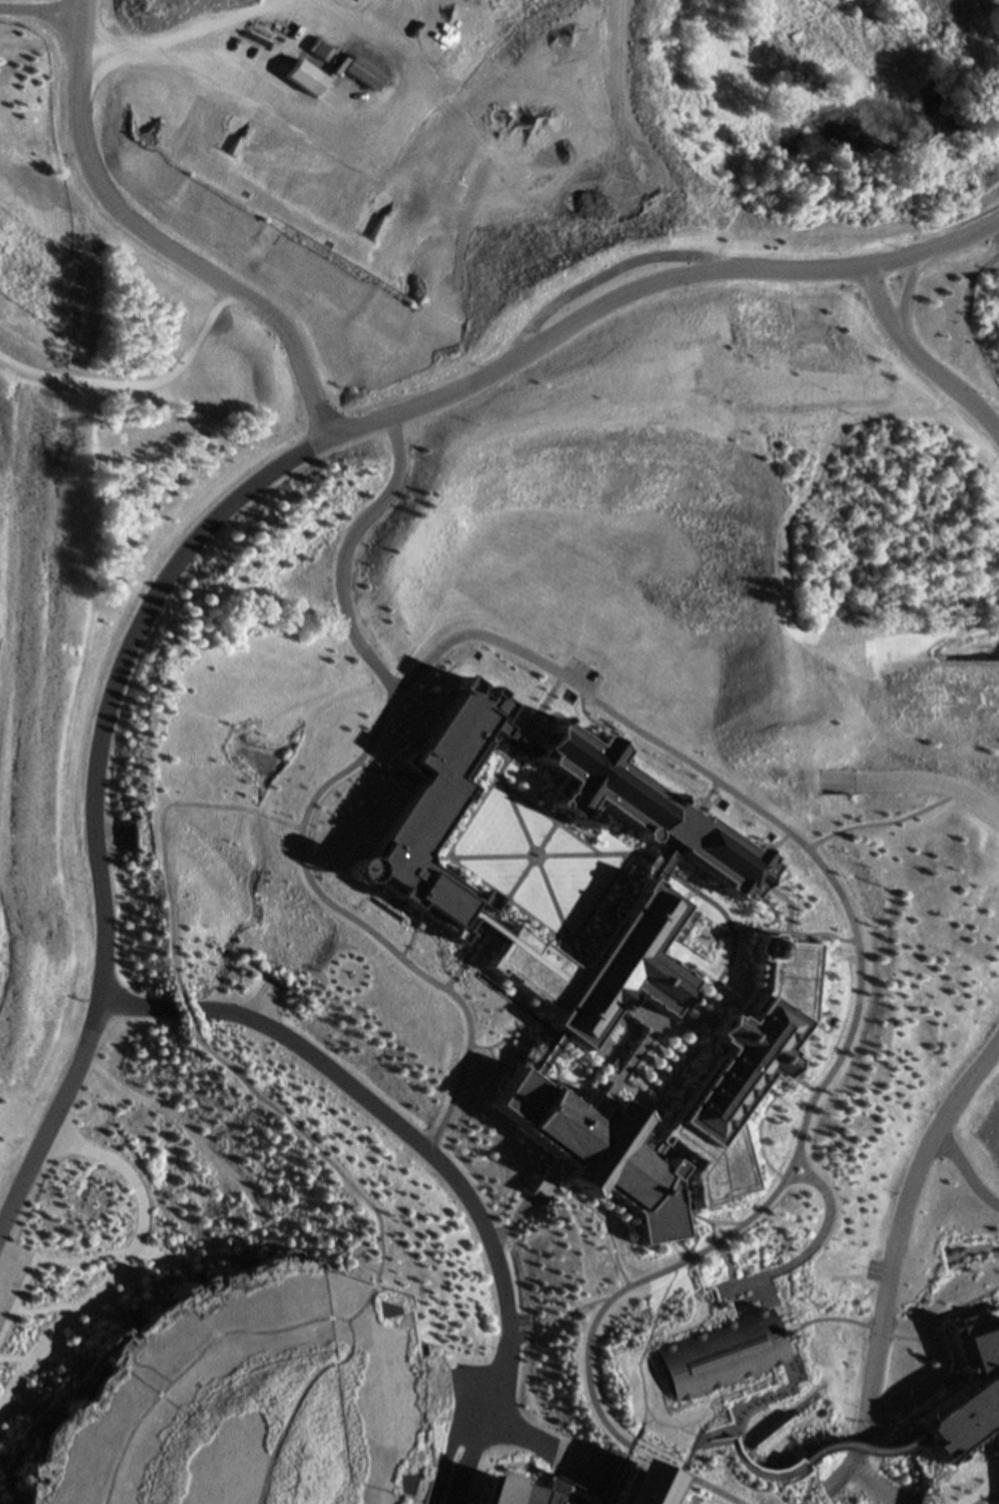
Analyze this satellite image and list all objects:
road: (39, 11)
road: (933, 241)
road: (161, 243)
road: (951, 312)
road: (919, 351)
road: (20, 407)
building: (487, 488)
road: (198, 537)
road: (342, 552)
building: (662, 582)
building: (68, 658)
road: (6, 699)
road: (546, 708)
road: (600, 717)
road: (517, 735)
building: (672, 742)
road: (496, 748)
road: (386, 770)
road: (915, 783)
road: (712, 797)
road: (484, 798)
building: (647, 806)
road: (271, 808)
road: (517, 810)
building: (432, 811)
road: (551, 815)
road: (111, 827)
road: (554, 829)
road: (49, 838)
road: (532, 848)
road: (434, 855)
road: (448, 855)
road: (664, 864)
building: (554, 878)
parking garage: (554, 878)
road: (605, 892)
road: (788, 901)
road: (730, 910)
road: (561, 916)
road: (488, 920)
road: (485, 925)
road: (747, 930)
road: (821, 935)
road: (853, 935)
road: (808, 936)
road: (264, 994)
road: (136, 1007)
road: (708, 1011)
road: (623, 1017)
road: (653, 1018)
road: (538, 1049)
road: (609, 1053)
road: (495, 1060)
road: (462, 1064)
building: (740, 1068)
road: (626, 1082)
building: (751, 1107)
road: (654, 1113)
building: (136, 1121)
road: (294, 1132)
building: (595, 1147)
road: (803, 1176)
road: (474, 1202)
road: (711, 1215)
road: (825, 1233)
road: (696, 1234)
road: (907, 1236)
road: (83, 1258)
road: (168, 1258)
road: (732, 1258)
road: (125, 1262)
parking lot: (11, 1277)
road: (732, 1286)
road: (777, 1291)
road: (18, 1299)
road: (113, 1301)
road: (44, 1311)
road: (108, 1313)
road: (852, 1313)
road: (320, 1315)
road: (931, 1325)
road: (67, 1350)
building: (654, 1353)
building: (718, 1356)
road: (16, 1358)
road: (26, 1391)
building: (972, 1391)
building: (248, 1397)
road: (1, 1403)
road: (28, 1405)
road: (473, 1449)
road: (873, 1449)
road: (445, 1450)
building: (758, 1460)
road: (107, 1464)
road: (854, 1472)
road: (900, 1479)
building: (639, 1484)
building: (501, 1488)
road: (988, 1497)

